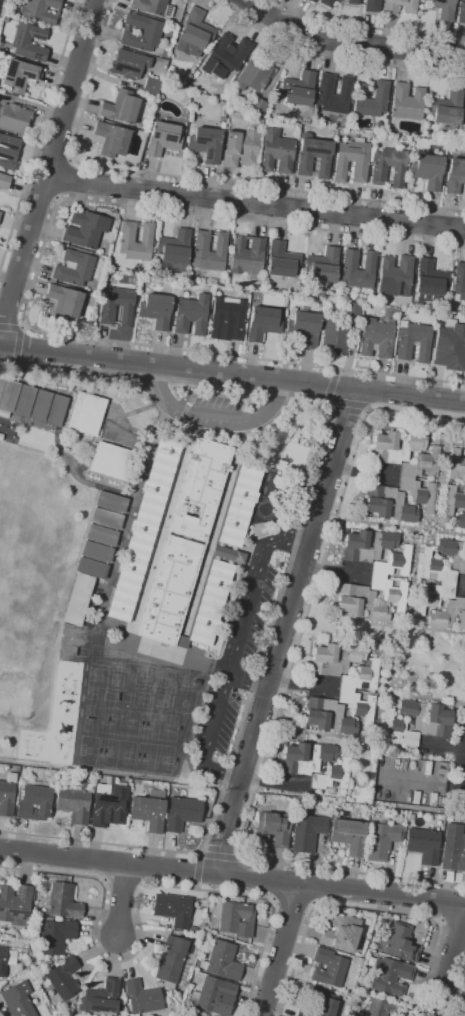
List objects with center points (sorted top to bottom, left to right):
building: (310, 1)
building: (326, 2)
building: (352, 2)
building: (371, 5)
building: (152, 7)
building: (390, 8)
building: (441, 8)
building: (40, 10)
building: (461, 11)
road: (368, 28)
building: (193, 33)
building: (150, 34)
building: (28, 42)
road: (347, 43)
building: (225, 56)
road: (333, 58)
building: (128, 64)
building: (195, 74)
building: (253, 74)
building: (19, 76)
building: (151, 86)
building: (324, 88)
building: (298, 89)
building: (371, 99)
building: (407, 101)
building: (257, 106)
building: (120, 107)
building: (447, 109)
building: (15, 117)
building: (464, 122)
road: (39, 133)
building: (111, 139)
building: (162, 139)
building: (205, 144)
building: (240, 149)
building: (276, 151)
building: (8, 152)
road: (53, 155)
building: (313, 156)
building: (351, 161)
road: (49, 169)
building: (379, 170)
building: (427, 171)
building: (313, 175)
building: (454, 175)
road: (186, 177)
road: (65, 179)
building: (4, 181)
road: (41, 193)
road: (256, 205)
building: (0, 213)
building: (85, 229)
building: (127, 235)
building: (201, 244)
building: (173, 251)
building: (246, 256)
building: (281, 260)
building: (350, 261)
building: (322, 265)
building: (74, 268)
building: (394, 276)
road: (32, 280)
building: (429, 281)
building: (459, 281)
building: (343, 290)
building: (63, 302)
building: (155, 310)
building: (352, 310)
building: (106, 313)
building: (191, 315)
building: (227, 319)
building: (262, 323)
road: (9, 327)
road: (21, 327)
building: (304, 328)
building: (334, 337)
building: (376, 338)
building: (413, 341)
road: (16, 343)
building: (450, 348)
road: (15, 359)
road: (335, 371)
road: (232, 375)
road: (330, 386)
building: (7, 394)
road: (325, 399)
building: (22, 400)
road: (328, 401)
road: (347, 403)
building: (38, 405)
parking lot: (213, 406)
road: (365, 407)
building: (54, 409)
building: (86, 414)
road: (213, 419)
building: (413, 441)
building: (464, 446)
building: (111, 461)
building: (456, 466)
road: (364, 472)
building: (406, 479)
building: (200, 488)
building: (454, 499)
building: (111, 502)
building: (377, 503)
building: (239, 504)
building: (281, 511)
building: (106, 518)
building: (461, 521)
building: (144, 529)
building: (168, 533)
building: (101, 535)
building: (186, 538)
building: (204, 543)
building: (216, 543)
building: (366, 546)
building: (96, 552)
building: (464, 552)
building: (452, 553)
building: (228, 554)
building: (212, 557)
road: (287, 564)
building: (92, 568)
road: (336, 571)
building: (378, 578)
building: (447, 582)
road: (461, 585)
building: (170, 590)
park: (13, 593)
building: (77, 599)
building: (210, 603)
building: (360, 603)
road: (244, 604)
building: (449, 615)
road: (284, 631)
park: (66, 637)
park: (80, 639)
building: (321, 639)
building: (181, 642)
park: (74, 651)
building: (207, 654)
parking lot: (238, 654)
park: (99, 655)
park: (118, 657)
building: (335, 659)
park: (145, 675)
park: (164, 677)
park: (186, 677)
park: (97, 678)
park: (116, 680)
building: (197, 682)
road: (303, 684)
road: (282, 692)
building: (344, 692)
park: (90, 694)
park: (116, 697)
park: (142, 698)
park: (161, 700)
building: (445, 700)
park: (183, 702)
building: (328, 716)
park: (87, 718)
park: (120, 722)
building: (415, 723)
park: (158, 727)
road: (209, 737)
road: (443, 745)
park: (86, 751)
park: (116, 753)
building: (305, 757)
park: (154, 758)
building: (97, 776)
building: (332, 776)
parking lot: (410, 782)
road: (273, 783)
road: (423, 783)
building: (7, 795)
building: (34, 803)
building: (74, 803)
building: (109, 805)
building: (149, 810)
building: (182, 813)
building: (448, 818)
building: (273, 828)
building: (307, 832)
building: (348, 836)
building: (381, 840)
building: (423, 845)
building: (453, 852)
road: (197, 853)
road: (218, 857)
road: (240, 857)
road: (197, 869)
road: (232, 876)
road: (195, 887)
road: (293, 899)
road: (122, 900)
road: (273, 900)
building: (62, 901)
building: (15, 904)
road: (138, 904)
road: (313, 904)
building: (173, 909)
road: (370, 909)
building: (235, 919)
road: (453, 922)
building: (194, 930)
building: (341, 933)
building: (55, 936)
building: (399, 943)
road: (280, 950)
building: (6, 960)
building: (171, 960)
building: (222, 961)
road: (449, 963)
building: (328, 968)
building: (389, 976)
building: (61, 978)
road: (458, 995)
building: (213, 996)
building: (102, 998)
building: (142, 998)
building: (17, 999)
building: (319, 1005)
building: (66, 1006)
building: (121, 1006)
building: (381, 1007)

